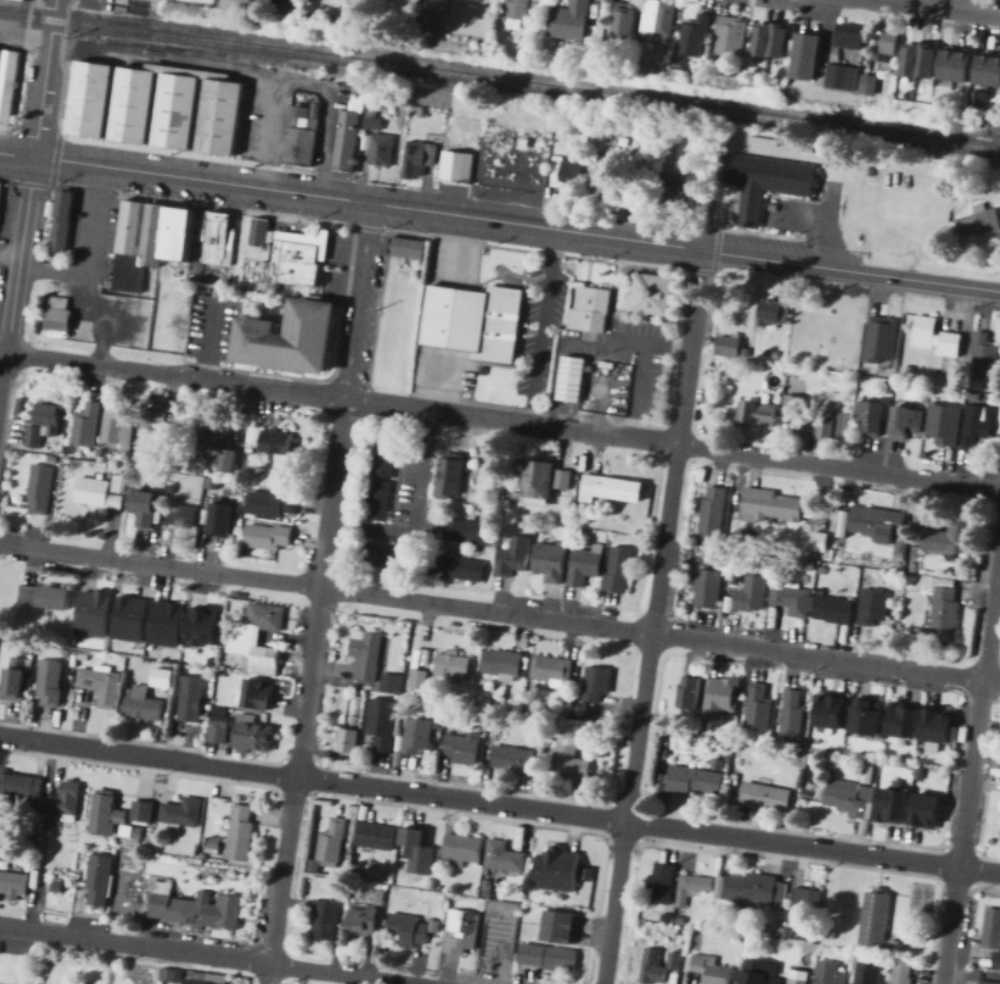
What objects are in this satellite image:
building: (24, 0)
building: (218, 0)
building: (224, 0)
road: (137, 1)
building: (506, 1)
building: (243, 4)
parking lot: (120, 5)
building: (111, 8)
building: (441, 8)
building: (493, 8)
road: (941, 8)
building: (135, 9)
building: (354, 12)
building: (519, 12)
building: (627, 18)
building: (660, 18)
building: (570, 20)
building: (602, 24)
building: (695, 35)
building: (731, 35)
building: (851, 37)
road: (25, 39)
building: (525, 39)
building: (772, 41)
building: (524, 49)
building: (889, 49)
building: (810, 55)
building: (920, 59)
building: (668, 60)
road: (218, 64)
building: (956, 65)
building: (989, 69)
building: (842, 75)
road: (46, 78)
building: (823, 79)
railway: (500, 81)
building: (872, 83)
building: (8, 84)
building: (911, 95)
building: (981, 98)
building: (92, 99)
building: (179, 107)
building: (422, 111)
road: (329, 116)
building: (375, 121)
building: (302, 140)
building: (348, 140)
building: (382, 150)
road: (18, 154)
building: (419, 158)
building: (457, 166)
building: (870, 171)
building: (564, 172)
road: (204, 179)
building: (608, 182)
building: (768, 183)
building: (685, 185)
building: (828, 185)
building: (1, 192)
road: (831, 200)
building: (772, 206)
building: (52, 208)
road: (822, 218)
building: (979, 222)
building: (63, 224)
road: (540, 226)
parking lot: (799, 227)
building: (261, 229)
parking lot: (8, 230)
building: (219, 239)
building: (151, 240)
building: (408, 247)
parking lot: (341, 249)
road: (351, 250)
road: (89, 253)
road: (21, 254)
road: (10, 259)
building: (299, 259)
parking lot: (456, 261)
building: (264, 264)
building: (169, 268)
road: (853, 270)
building: (211, 278)
parking lot: (98, 279)
parking lot: (338, 284)
road: (349, 285)
building: (275, 286)
building: (220, 291)
building: (653, 294)
road: (361, 301)
building: (591, 308)
building: (62, 313)
building: (775, 313)
road: (107, 316)
building: (478, 318)
road: (544, 326)
road: (167, 327)
parking lot: (212, 327)
parking lot: (544, 328)
building: (884, 336)
building: (289, 337)
building: (936, 338)
road: (212, 339)
road: (564, 340)
building: (727, 345)
road: (4, 351)
building: (745, 351)
building: (769, 352)
building: (986, 355)
parking lot: (629, 357)
road: (94, 363)
parking lot: (445, 369)
road: (647, 369)
building: (875, 369)
building: (880, 369)
building: (890, 371)
building: (573, 378)
road: (4, 382)
building: (885, 383)
road: (264, 387)
parking lot: (609, 387)
building: (835, 395)
road: (605, 400)
building: (829, 402)
building: (795, 404)
building: (758, 415)
building: (871, 415)
road: (514, 421)
building: (906, 421)
building: (943, 423)
building: (44, 424)
building: (974, 425)
building: (86, 426)
building: (832, 427)
building: (169, 428)
building: (120, 429)
building: (219, 434)
building: (150, 439)
building: (272, 443)
building: (385, 456)
building: (53, 459)
building: (102, 459)
building: (227, 460)
building: (210, 462)
building: (163, 464)
road: (840, 467)
building: (261, 471)
building: (451, 476)
building: (546, 481)
building: (121, 483)
building: (214, 483)
building: (172, 487)
building: (42, 488)
parking lot: (418, 488)
building: (610, 488)
road: (335, 492)
building: (98, 493)
building: (466, 494)
building: (379, 500)
building: (273, 503)
building: (574, 504)
building: (770, 505)
building: (146, 506)
road: (413, 510)
building: (714, 510)
building: (181, 515)
building: (224, 517)
building: (240, 521)
building: (876, 521)
building: (841, 522)
building: (468, 531)
building: (267, 535)
building: (950, 538)
building: (641, 540)
building: (819, 541)
building: (900, 544)
building: (698, 547)
building: (391, 556)
building: (516, 556)
building: (550, 562)
building: (585, 565)
building: (807, 565)
building: (913, 566)
building: (455, 567)
building: (619, 569)
building: (821, 569)
building: (688, 572)
building: (805, 578)
building: (735, 579)
building: (709, 588)
building: (750, 594)
building: (27, 595)
building: (54, 597)
building: (792, 600)
building: (681, 602)
building: (873, 606)
building: (833, 609)
road: (500, 610)
building: (97, 612)
building: (944, 612)
road: (656, 616)
building: (133, 618)
building: (168, 623)
building: (205, 624)
road: (993, 632)
building: (243, 635)
building: (28, 649)
building: (67, 652)
building: (367, 653)
building: (84, 655)
building: (213, 661)
building: (504, 663)
building: (453, 664)
building: (551, 670)
building: (222, 673)
building: (162, 674)
building: (419, 679)
building: (392, 680)
building: (50, 681)
building: (14, 684)
building: (102, 684)
building: (597, 684)
building: (143, 689)
building: (131, 691)
building: (691, 691)
building: (570, 692)
building: (459, 693)
building: (257, 694)
building: (721, 697)
building: (191, 699)
building: (144, 707)
building: (759, 707)
building: (826, 710)
building: (792, 716)
building: (862, 716)
building: (900, 719)
building: (383, 723)
building: (933, 724)
building: (218, 725)
building: (439, 725)
building: (702, 726)
building: (494, 727)
building: (828, 730)
building: (951, 733)
building: (253, 734)
building: (417, 736)
building: (349, 741)
building: (436, 744)
building: (541, 746)
building: (462, 747)
building: (951, 747)
building: (399, 750)
building: (662, 753)
building: (726, 757)
building: (998, 757)
building: (516, 758)
building: (569, 760)
building: (716, 763)
building: (868, 771)
building: (692, 779)
building: (733, 779)
building: (660, 780)
building: (894, 783)
road: (297, 785)
building: (21, 787)
building: (845, 795)
building: (766, 797)
building: (67, 801)
building: (887, 804)
road: (499, 805)
building: (923, 810)
building: (183, 811)
building: (143, 812)
building: (107, 813)
building: (50, 822)
building: (863, 825)
building: (134, 831)
road: (966, 832)
building: (241, 834)
building: (376, 836)
building: (332, 843)
building: (213, 845)
building: (463, 849)
building: (420, 851)
building: (503, 856)
building: (196, 860)
building: (311, 862)
building: (6, 865)
building: (558, 869)
building: (589, 874)
building: (100, 878)
building: (14, 883)
building: (663, 883)
building: (429, 884)
building: (694, 885)
building: (56, 886)
building: (487, 887)
building: (440, 888)
building: (754, 890)
building: (379, 895)
building: (807, 898)
building: (525, 906)
building: (196, 908)
building: (510, 910)
building: (665, 917)
building: (877, 917)
building: (325, 919)
building: (364, 919)
building: (679, 919)
building: (434, 926)
building: (560, 926)
building: (407, 928)
building: (993, 928)
building: (462, 930)
building: (761, 930)
building: (678, 932)
building: (785, 933)
building: (828, 934)
building: (748, 941)
building: (892, 944)
road: (207, 955)
building: (550, 956)
building: (997, 959)
building: (674, 960)
park: (11, 961)
building: (653, 968)
building: (710, 970)
building: (903, 972)
building: (830, 973)
building: (869, 973)
building: (171, 975)
building: (759, 976)
building: (206, 977)
building: (798, 981)
building: (989, 982)

